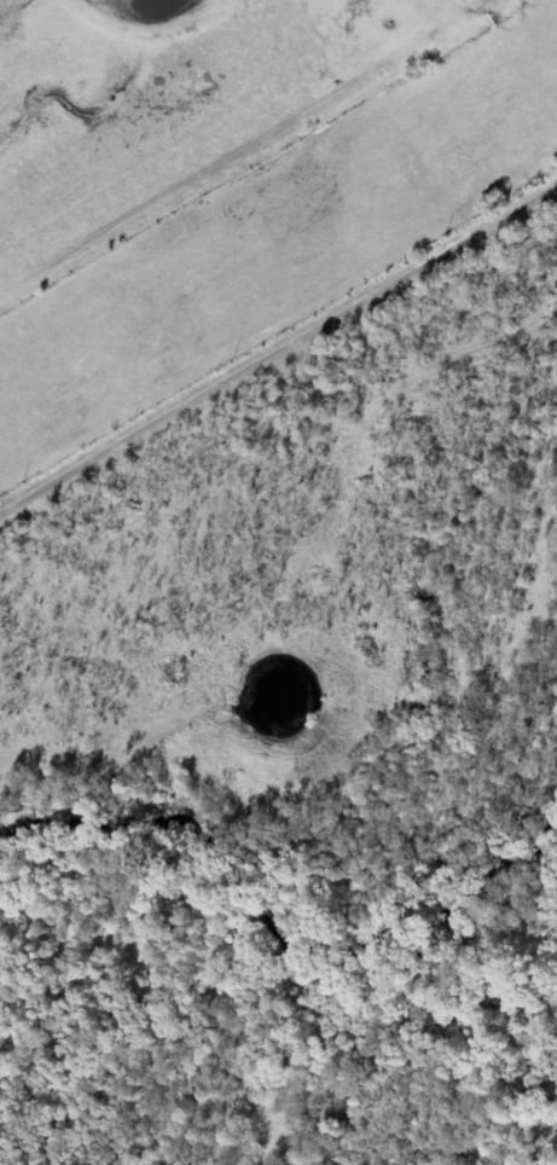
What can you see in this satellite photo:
road: (278, 383)

